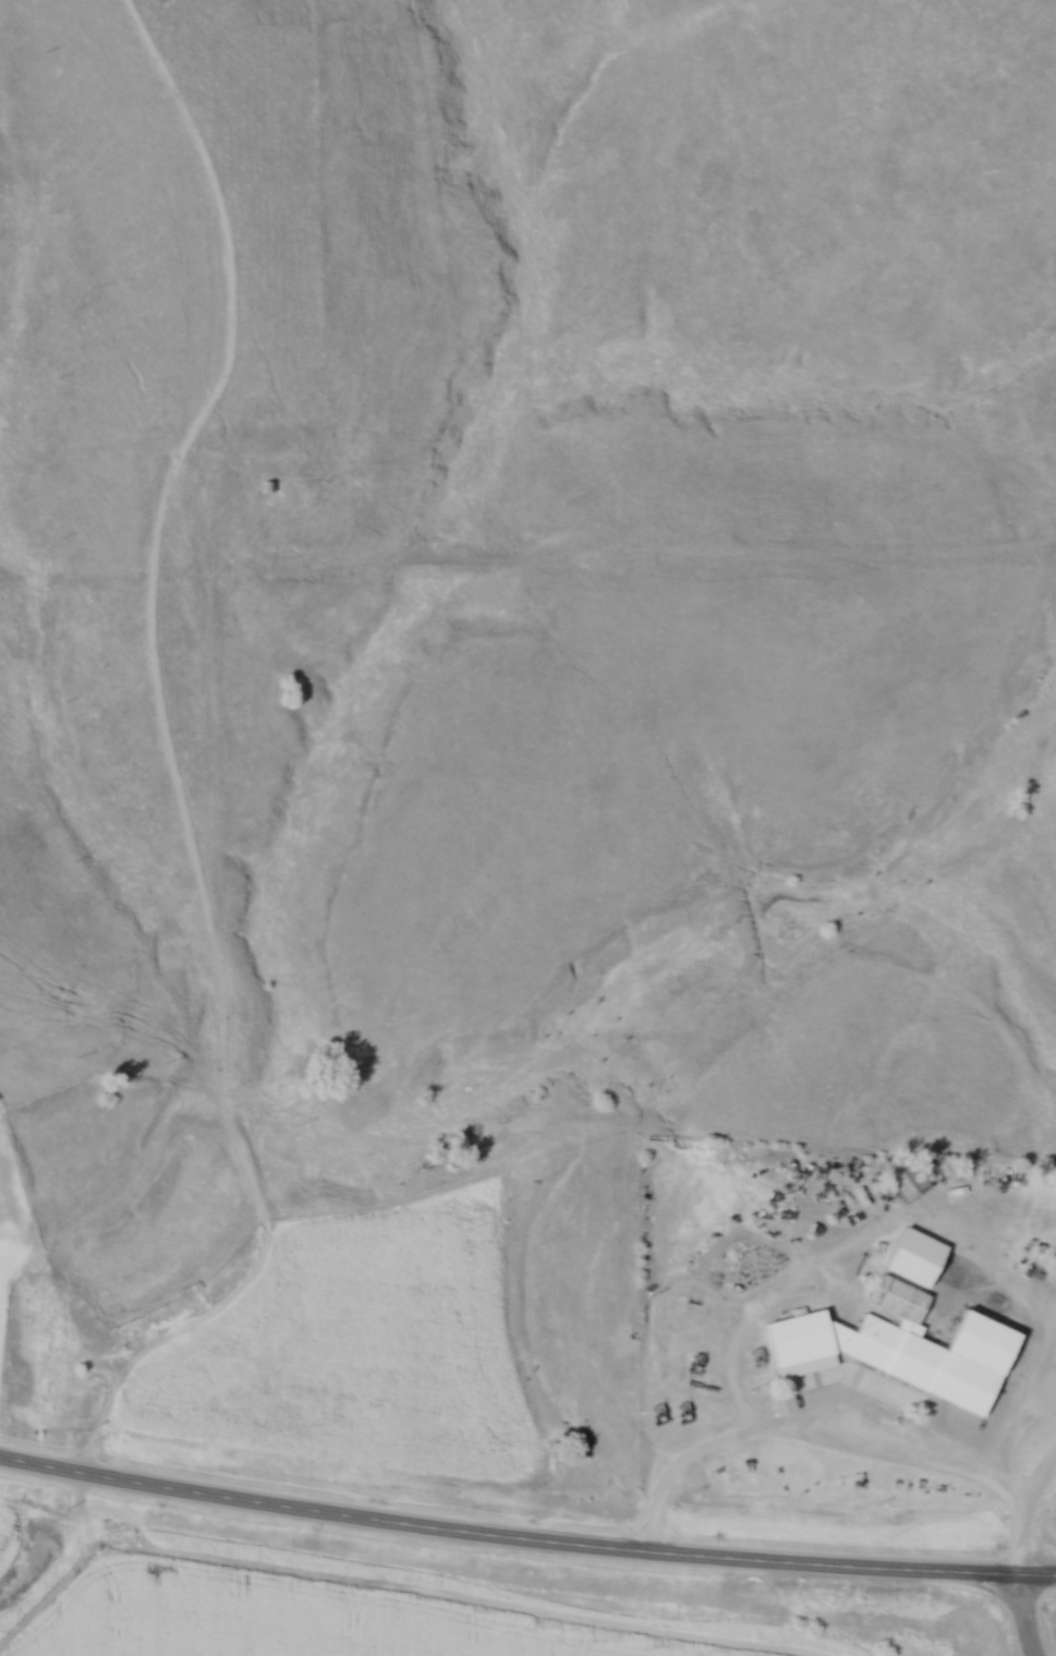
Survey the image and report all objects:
building: (907, 1184)
building: (897, 1349)
road: (806, 1426)
road: (1023, 1511)
road: (525, 1539)
road: (1021, 1616)

